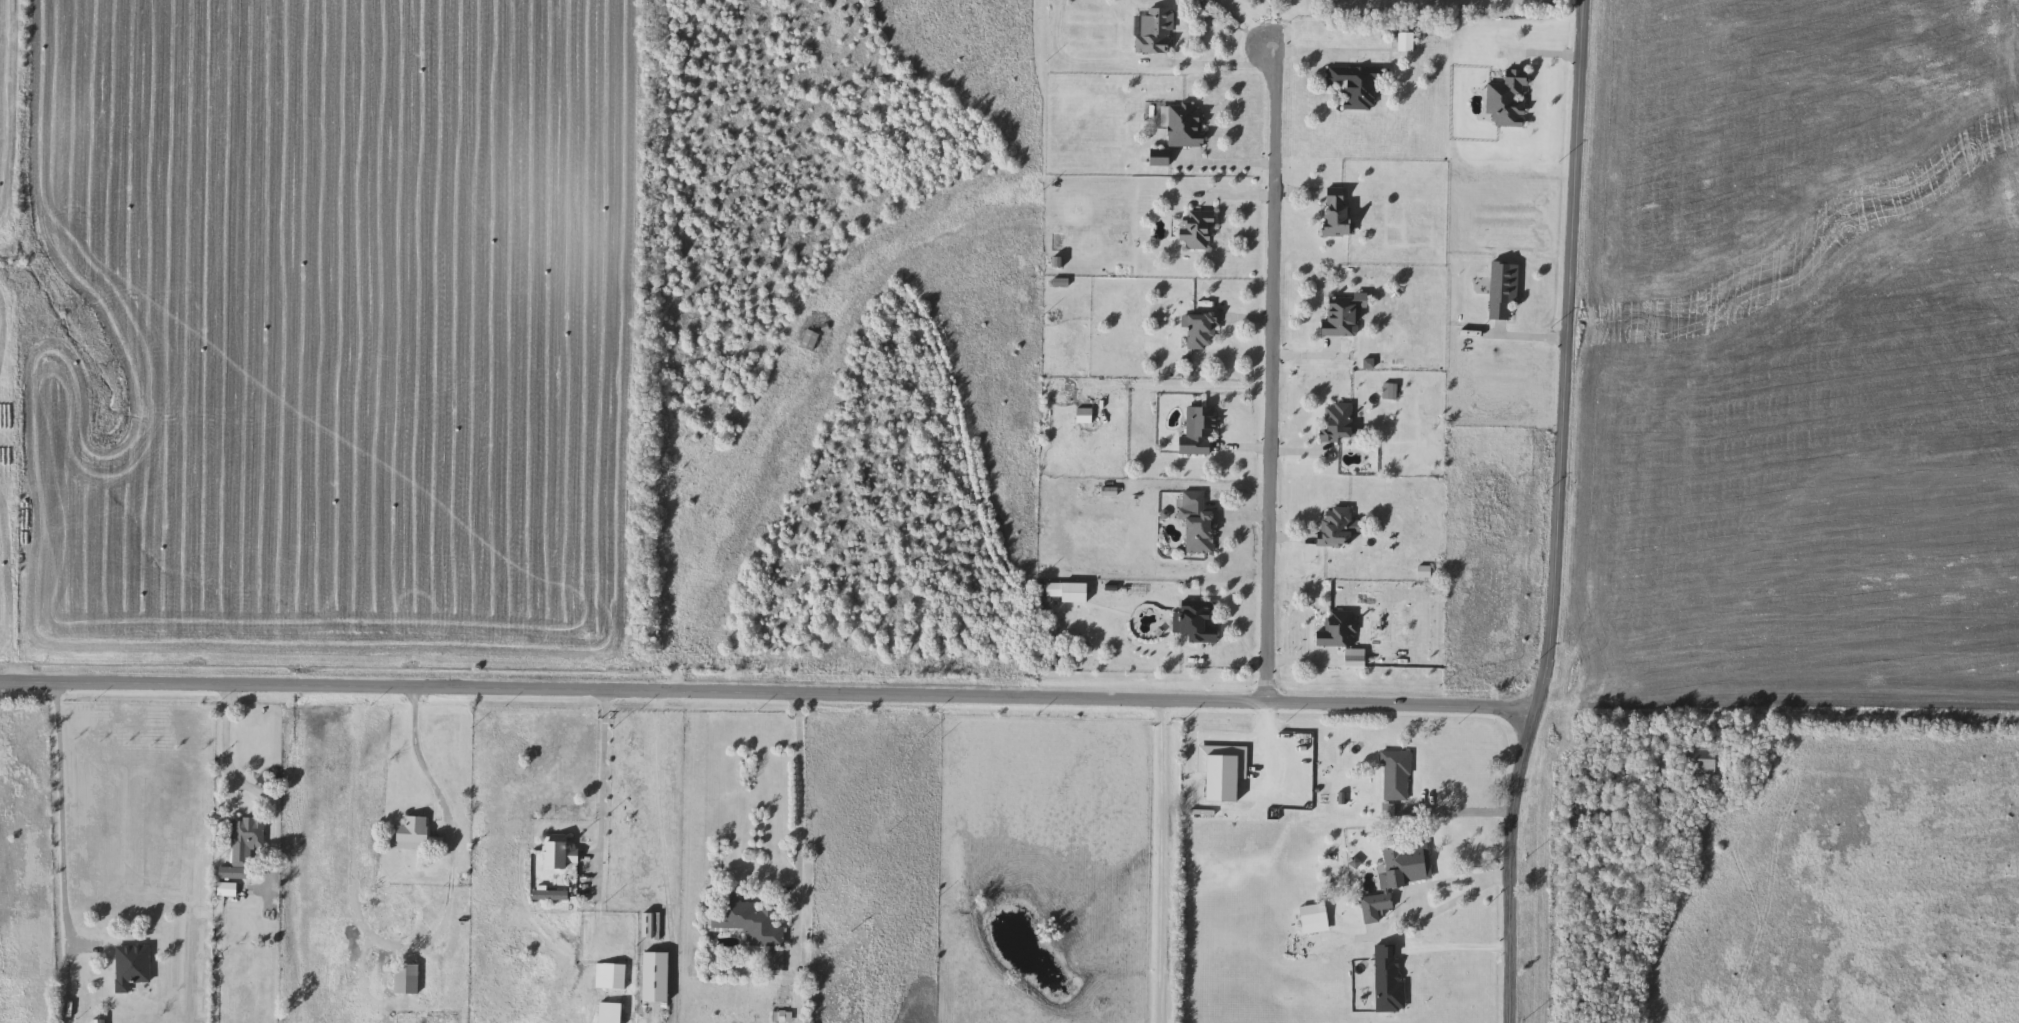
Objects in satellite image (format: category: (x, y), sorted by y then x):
road: (1243, 24)
building: (1153, 31)
building: (1404, 42)
road: (1213, 70)
building: (1356, 86)
building: (1508, 100)
building: (1185, 125)
building: (1160, 158)
road: (1223, 167)
building: (1337, 214)
building: (1198, 230)
building: (1503, 290)
building: (1341, 318)
building: (1199, 331)
building: (808, 341)
road: (1268, 374)
building: (1389, 391)
building: (1337, 423)
building: (1197, 433)
road: (1561, 514)
building: (1196, 523)
building: (1336, 528)
building: (1052, 592)
building: (1197, 623)
building: (1337, 631)
road: (769, 693)
road: (1263, 757)
building: (1705, 762)
road: (235, 777)
building: (1394, 777)
road: (602, 781)
road: (798, 794)
road: (1465, 816)
road: (54, 817)
building: (412, 834)
building: (245, 841)
building: (556, 853)
road: (1160, 861)
building: (1403, 865)
road: (1432, 894)
building: (549, 896)
building: (1375, 907)
building: (1314, 915)
building: (745, 923)
road: (402, 944)
road: (1454, 949)
building: (130, 967)
building: (608, 977)
building: (399, 980)
building: (1389, 986)
building: (609, 1013)

